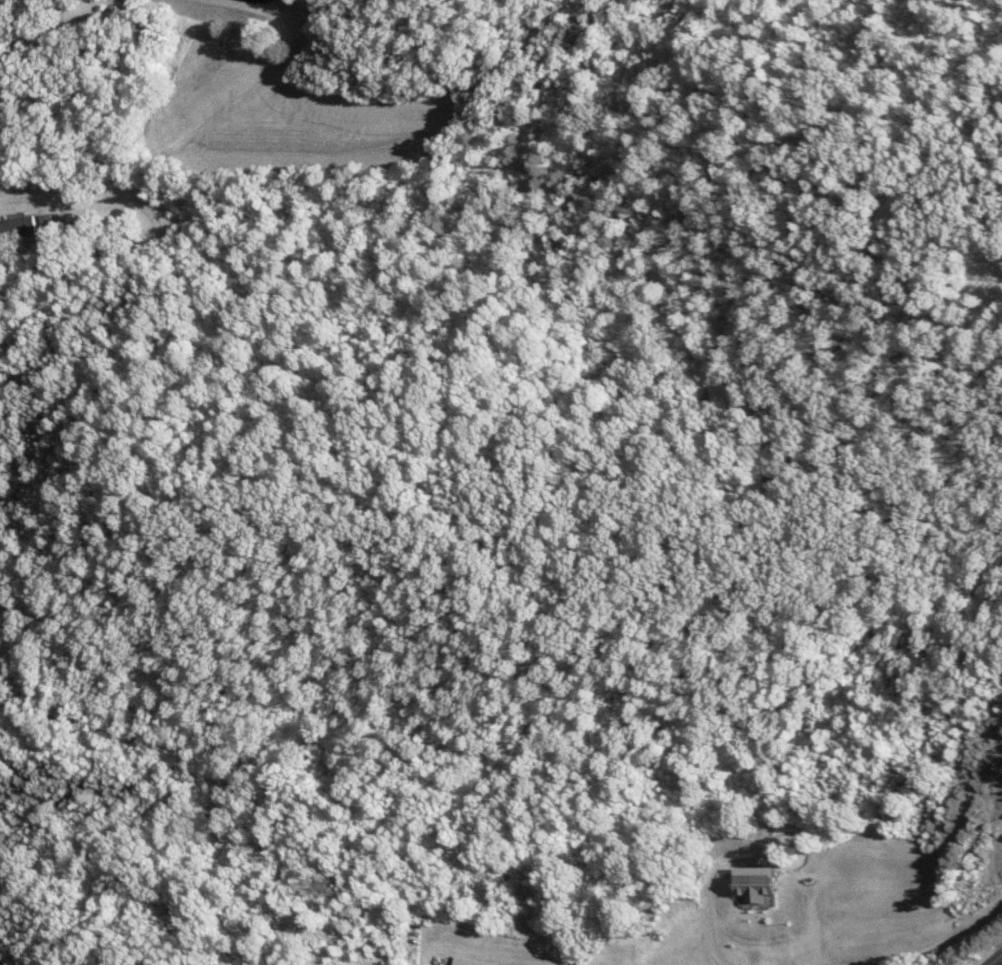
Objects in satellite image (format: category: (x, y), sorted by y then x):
road: (49, 20)
building: (759, 884)
road: (994, 959)
building: (470, 962)

